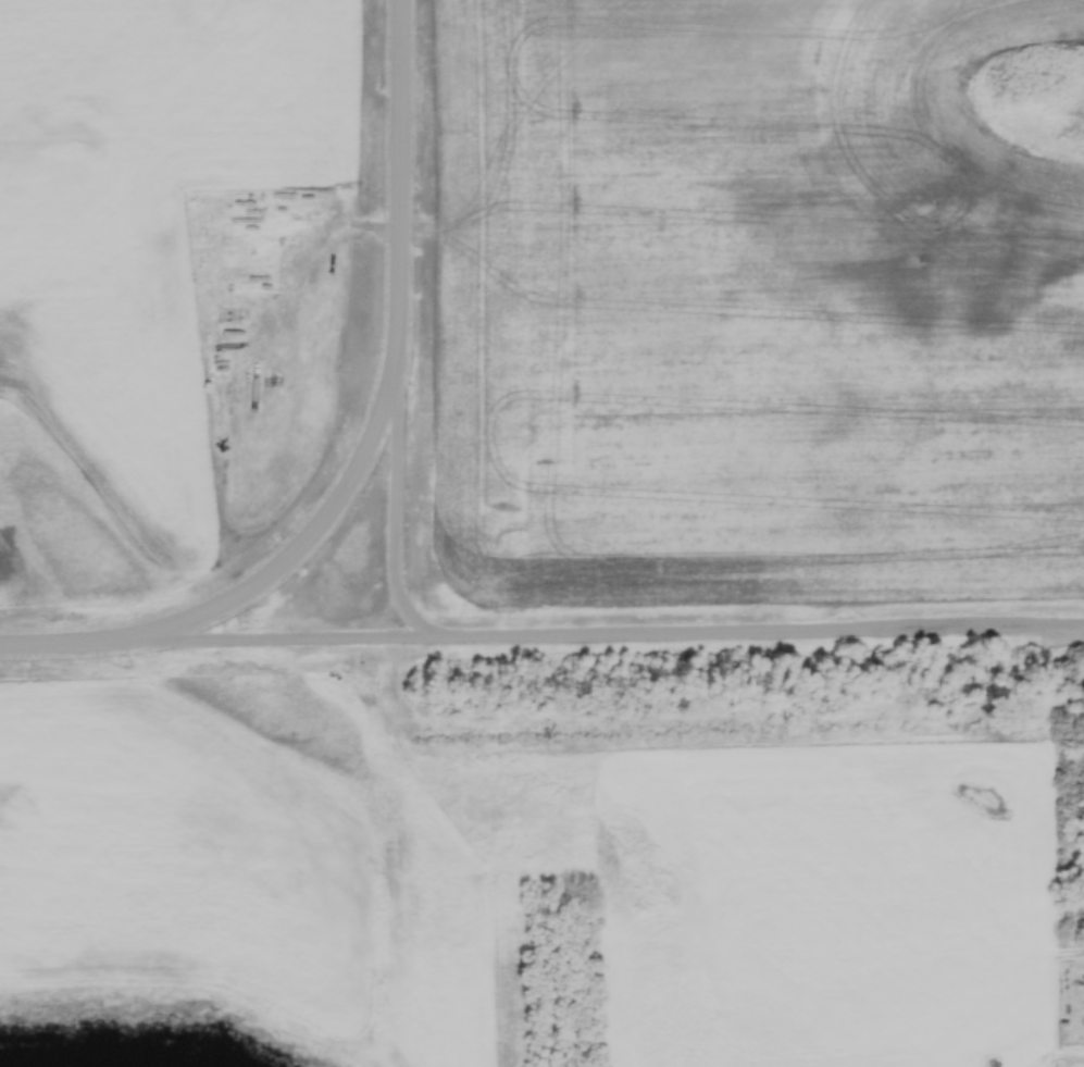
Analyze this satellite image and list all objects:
road: (399, 178)
building: (222, 409)
road: (306, 544)
road: (613, 633)
road: (278, 640)
road: (60, 645)

